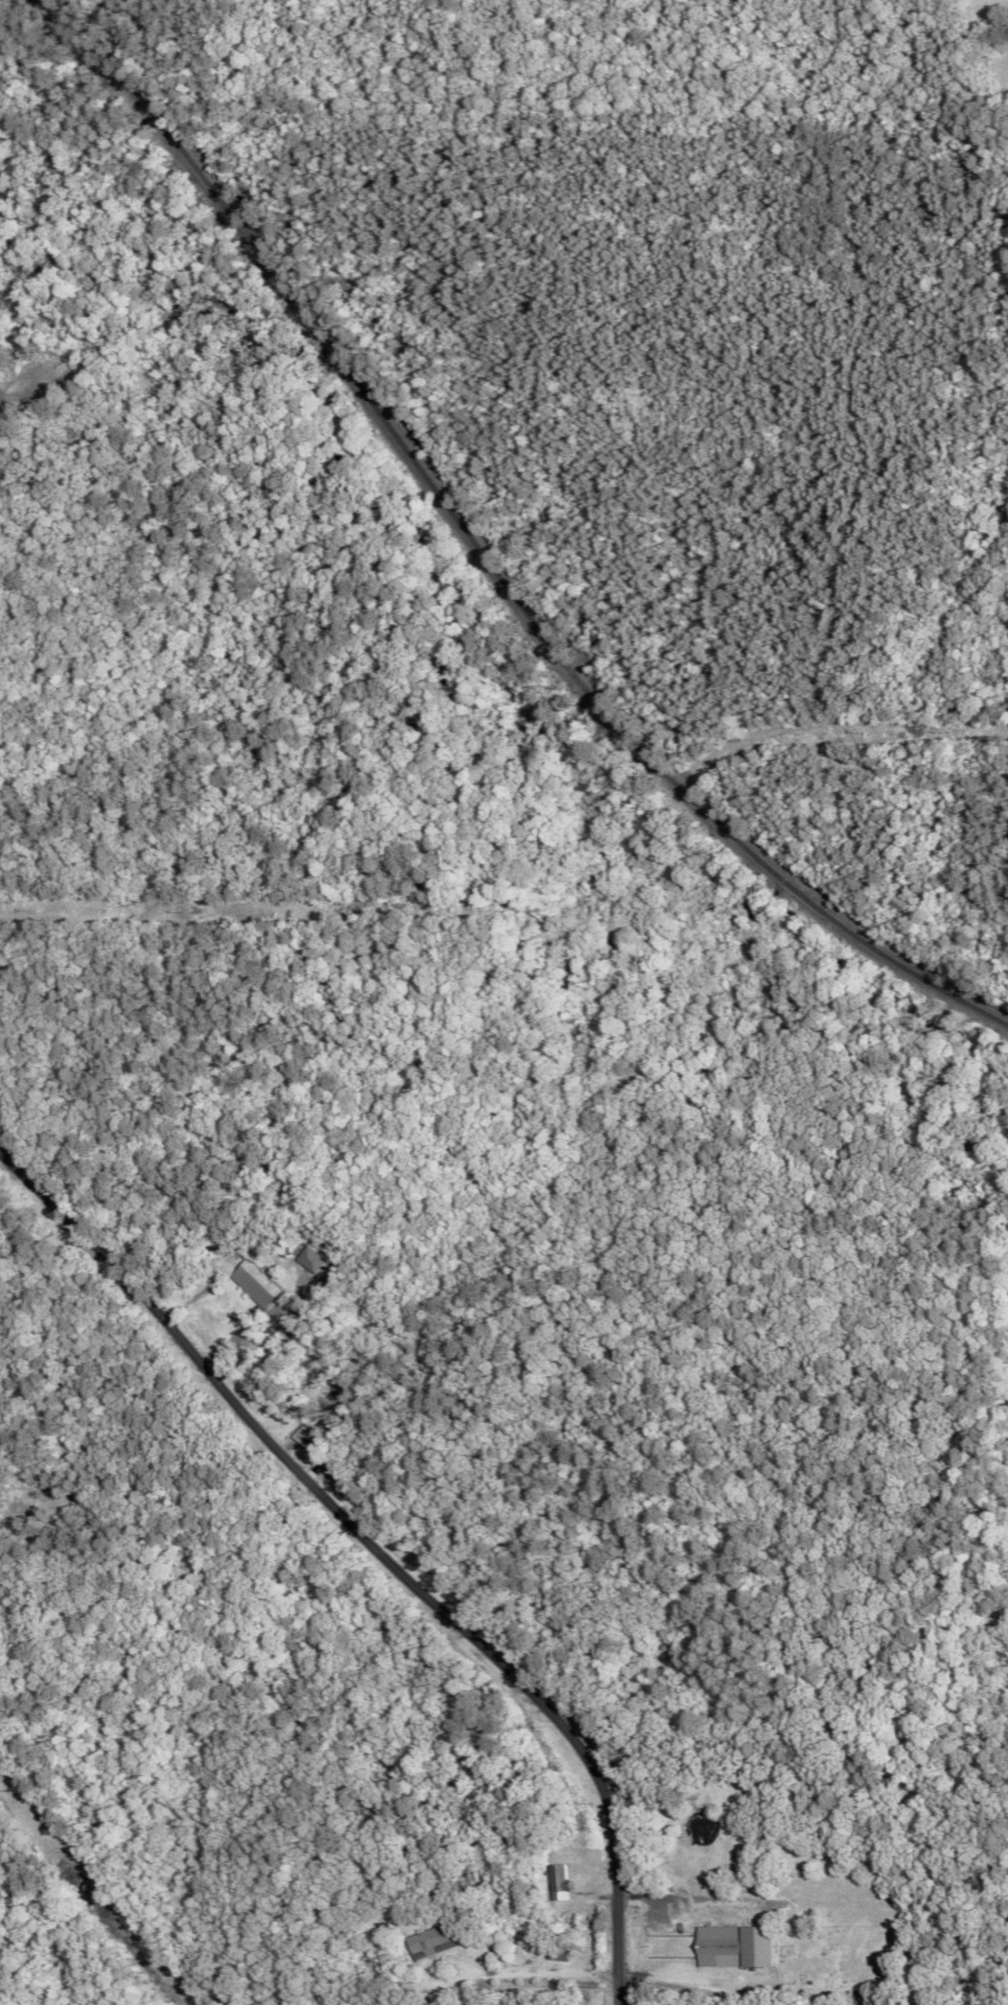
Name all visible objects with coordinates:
railway: (486, 551)
building: (311, 1259)
building: (255, 1283)
road: (379, 1549)
building: (554, 1882)
park: (837, 1925)
building: (428, 1941)
building: (730, 1943)
road: (524, 1970)

